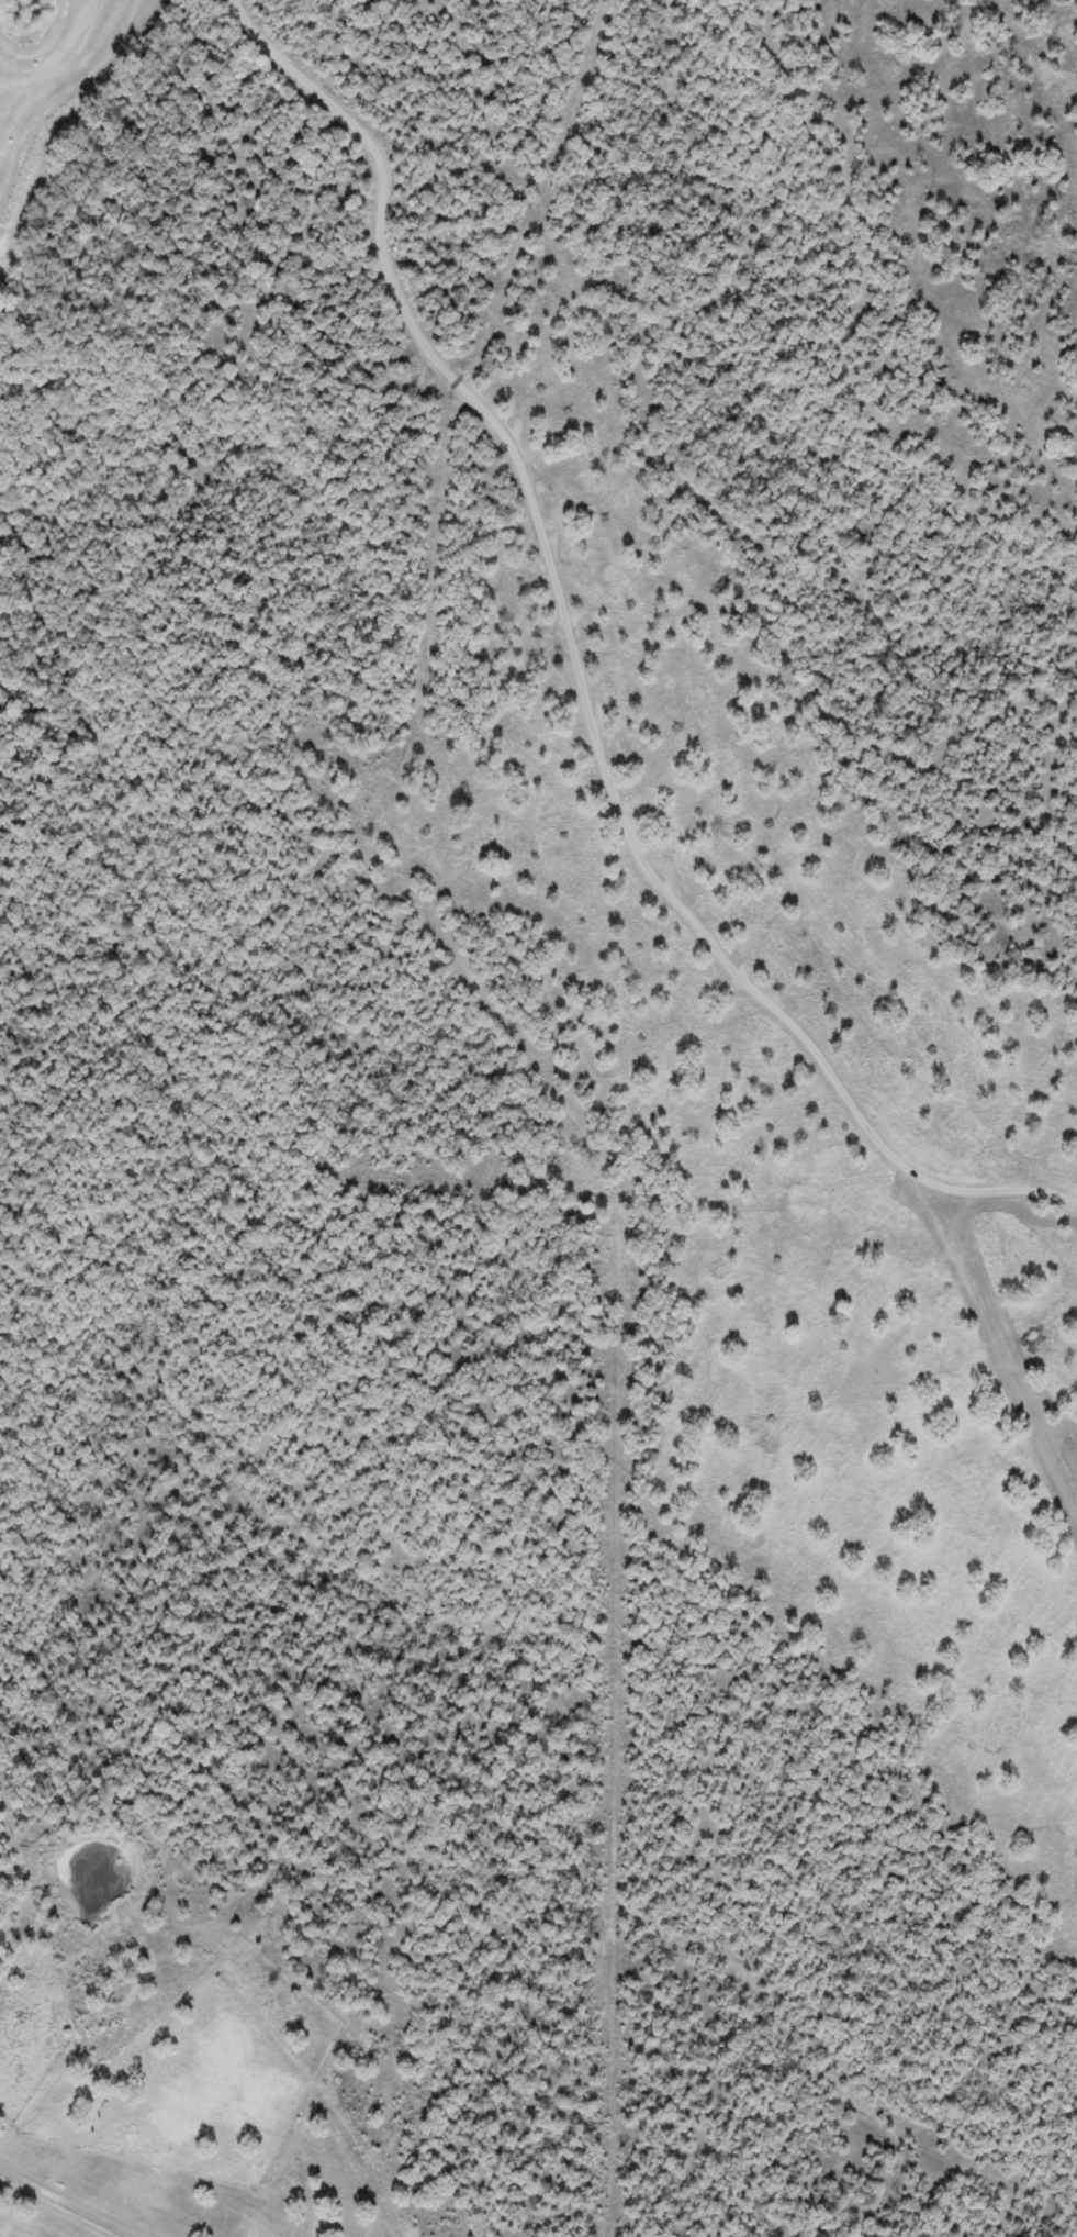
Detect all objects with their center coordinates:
road: (75, 2199)

